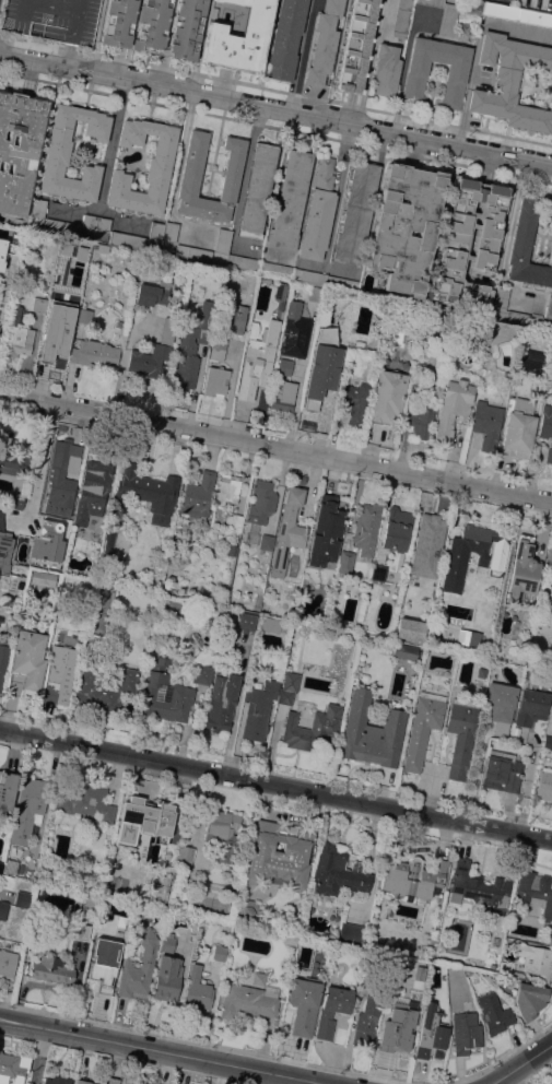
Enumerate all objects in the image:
building: (432, 2)
building: (536, 3)
building: (517, 13)
building: (402, 17)
building: (51, 19)
parking lot: (52, 19)
building: (447, 23)
building: (155, 25)
building: (237, 34)
building: (285, 39)
building: (324, 43)
building: (356, 46)
road: (474, 48)
road: (297, 55)
road: (303, 55)
building: (386, 70)
building: (414, 81)
building: (510, 81)
road: (400, 84)
road: (275, 107)
road: (113, 146)
building: (19, 149)
building: (58, 153)
building: (158, 168)
building: (188, 186)
building: (257, 187)
building: (290, 200)
road: (334, 207)
building: (38, 209)
building: (318, 211)
building: (356, 213)
road: (98, 215)
building: (95, 222)
building: (406, 226)
building: (61, 227)
building: (155, 232)
building: (169, 232)
road: (516, 237)
building: (127, 240)
building: (223, 240)
building: (454, 240)
building: (526, 247)
building: (1, 250)
building: (193, 252)
building: (250, 263)
building: (277, 270)
building: (308, 276)
building: (342, 283)
building: (151, 294)
building: (315, 294)
building: (281, 295)
building: (38, 304)
building: (549, 308)
building: (512, 313)
building: (84, 316)
building: (231, 316)
building: (252, 329)
building: (477, 329)
building: (294, 331)
building: (17, 335)
building: (56, 335)
building: (218, 346)
building: (93, 352)
building: (154, 352)
building: (188, 354)
building: (258, 361)
building: (284, 366)
building: (322, 366)
building: (419, 367)
building: (414, 379)
building: (215, 381)
building: (283, 396)
building: (387, 396)
building: (355, 402)
road: (294, 406)
building: (453, 406)
building: (421, 417)
building: (486, 423)
building: (547, 427)
building: (519, 429)
road: (275, 449)
building: (12, 459)
road: (38, 462)
building: (61, 478)
building: (301, 480)
building: (93, 491)
building: (227, 491)
building: (145, 494)
building: (198, 495)
building: (15, 500)
building: (261, 502)
building: (332, 515)
building: (233, 522)
building: (396, 529)
building: (287, 530)
building: (366, 530)
building: (48, 541)
building: (266, 542)
building: (107, 544)
building: (4, 545)
building: (426, 546)
building: (232, 549)
building: (456, 561)
building: (549, 561)
building: (345, 562)
building: (313, 564)
building: (522, 570)
building: (378, 572)
building: (104, 573)
building: (11, 574)
building: (167, 574)
building: (43, 577)
building: (305, 588)
building: (291, 593)
building: (246, 621)
building: (268, 624)
building: (410, 629)
building: (466, 637)
building: (402, 651)
building: (2, 660)
building: (28, 660)
building: (156, 671)
building: (61, 672)
building: (202, 674)
building: (104, 686)
building: (287, 687)
building: (550, 700)
building: (221, 703)
building: (168, 704)
building: (500, 705)
building: (258, 707)
building: (531, 707)
building: (422, 727)
building: (312, 728)
building: (371, 731)
building: (461, 734)
building: (548, 741)
building: (501, 771)
building: (544, 783)
road: (275, 785)
building: (7, 789)
building: (85, 802)
building: (27, 809)
building: (142, 821)
building: (223, 834)
building: (280, 853)
building: (185, 858)
building: (1, 865)
building: (11, 867)
building: (337, 871)
building: (412, 877)
building: (158, 887)
building: (479, 888)
building: (535, 891)
building: (23, 899)
building: (90, 900)
building: (3, 909)
building: (249, 911)
building: (78, 929)
building: (353, 934)
building: (551, 935)
building: (166, 942)
building: (79, 944)
building: (219, 953)
building: (8, 961)
building: (94, 961)
building: (536, 961)
building: (139, 968)
building: (505, 968)
building: (51, 969)
building: (259, 978)
building: (167, 979)
building: (197, 991)
building: (271, 991)
building: (528, 999)
building: (246, 1002)
building: (303, 1004)
building: (331, 1010)
building: (415, 1013)
building: (494, 1013)
building: (368, 1014)
building: (465, 1033)
building: (392, 1034)
building: (431, 1035)
road: (171, 1049)
building: (0, 1051)
road: (40, 1053)
road: (522, 1067)
building: (13, 1068)
building: (58, 1080)
building: (113, 1080)
building: (85, 1081)
building: (104, 1083)
building: (122, 1083)
building: (140, 1083)
building: (145, 1083)

